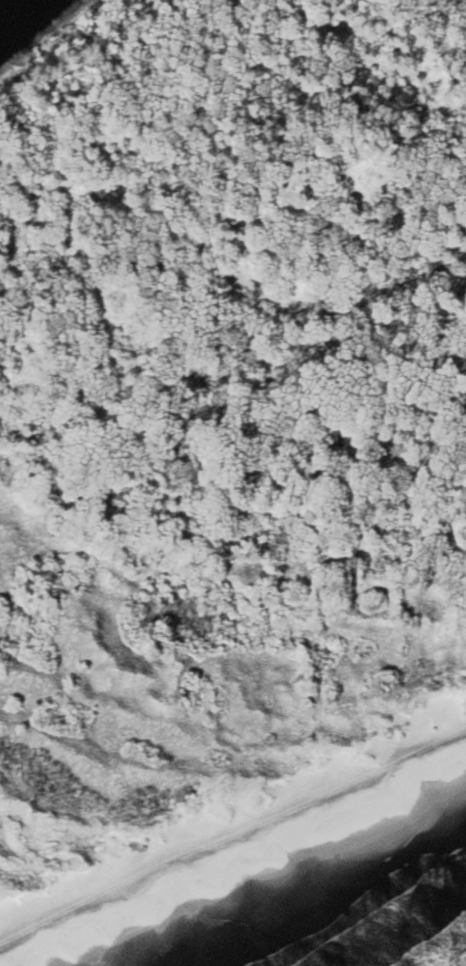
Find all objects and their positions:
park: (228, 465)

